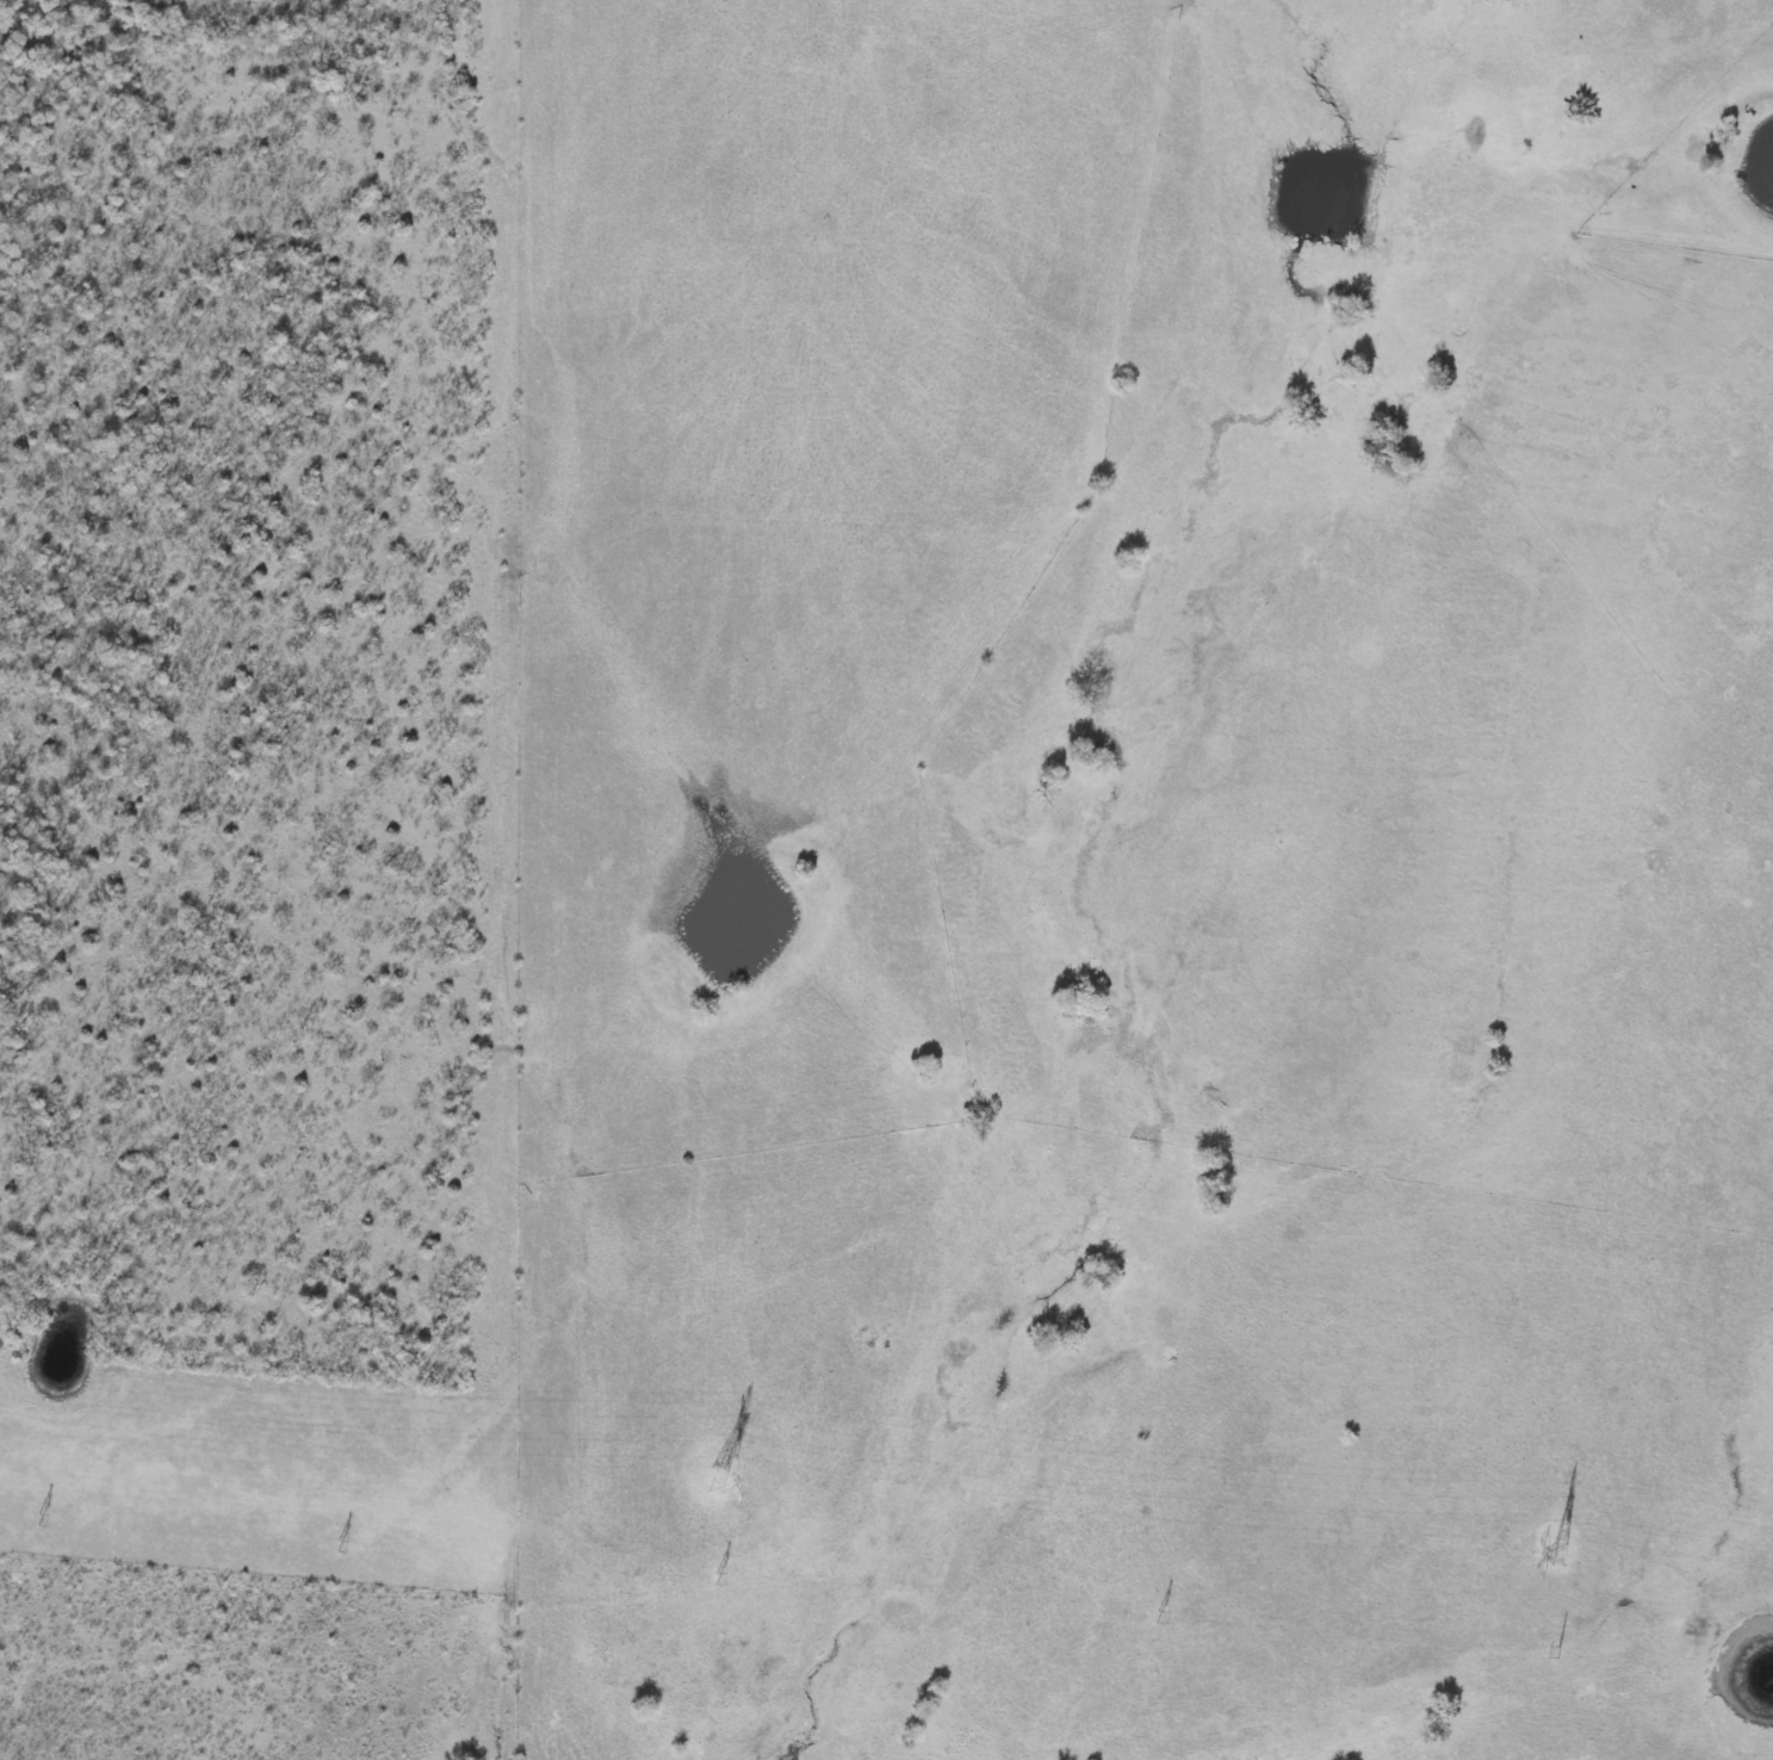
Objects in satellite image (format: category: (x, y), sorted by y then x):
power tower: (717, 1481)
power tower: (1560, 1553)

